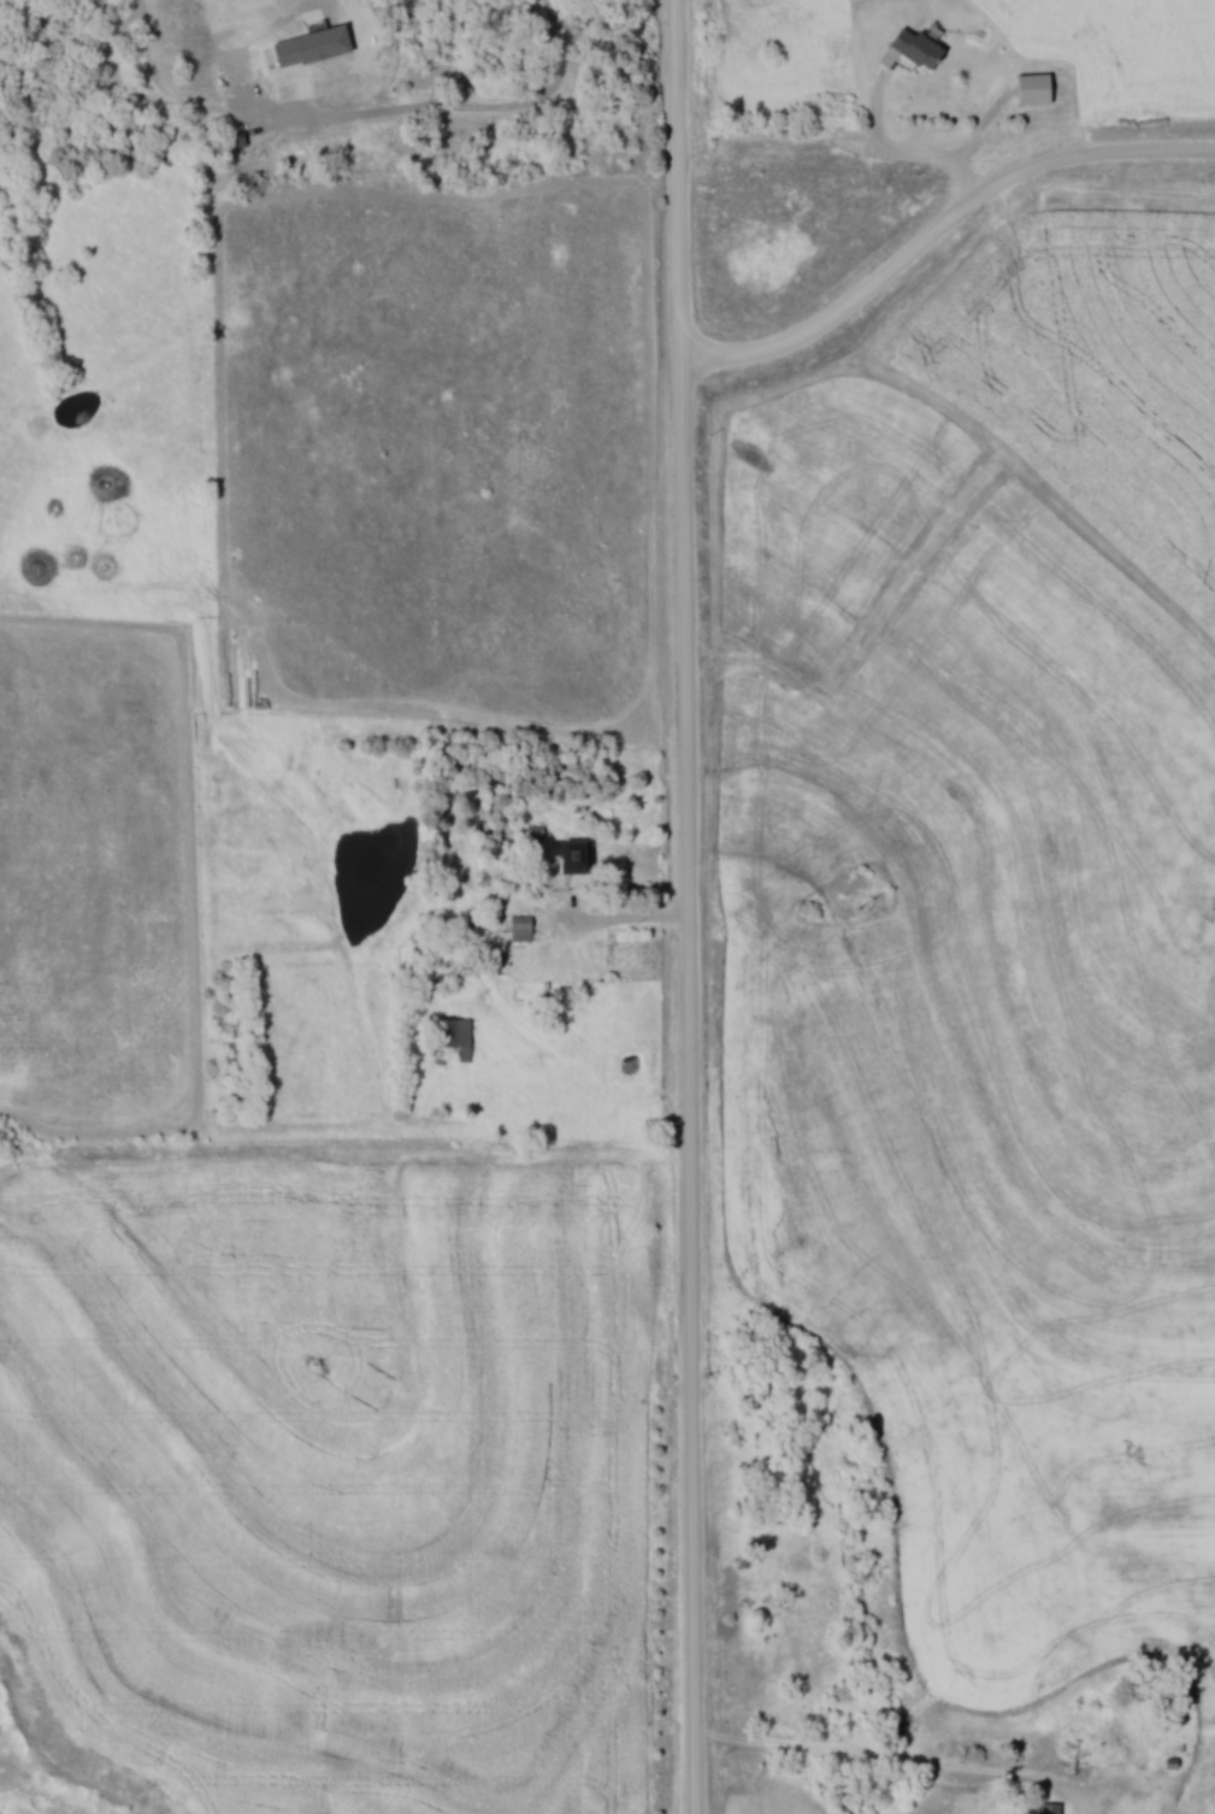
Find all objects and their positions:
building: (920, 47)
road: (353, 87)
building: (1038, 88)
road: (550, 105)
road: (938, 218)
building: (577, 855)
road: (692, 906)
road: (621, 921)
building: (524, 927)
building: (459, 1035)
road: (900, 1759)
building: (1052, 1808)

